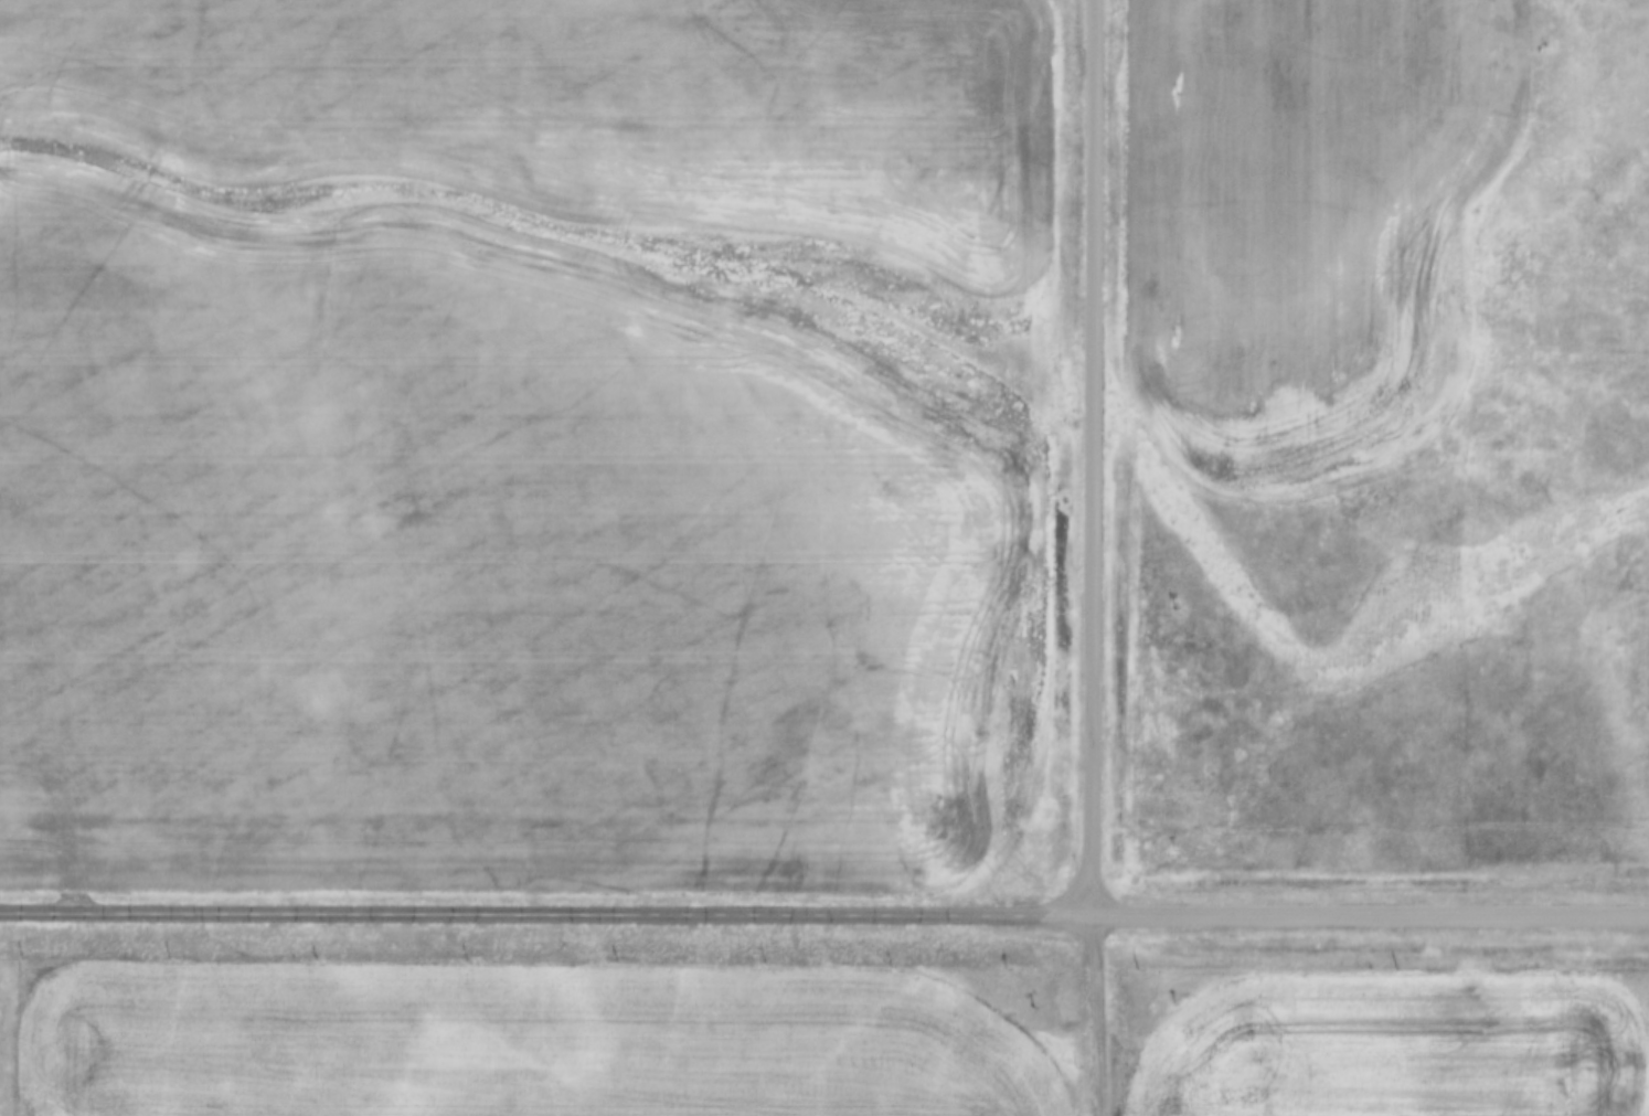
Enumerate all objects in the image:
road: (1095, 459)
road: (547, 914)
road: (1371, 914)
road: (1096, 1017)

